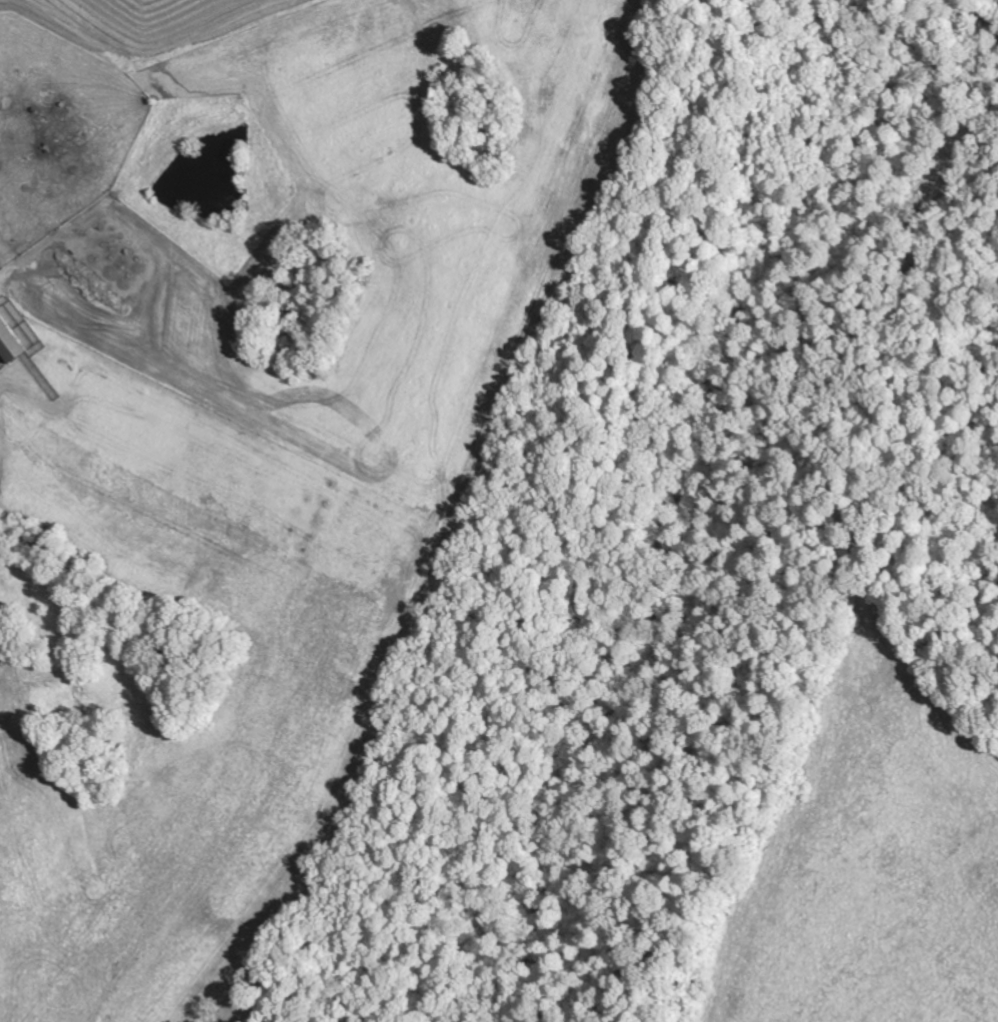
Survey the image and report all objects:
building: (13, 339)

